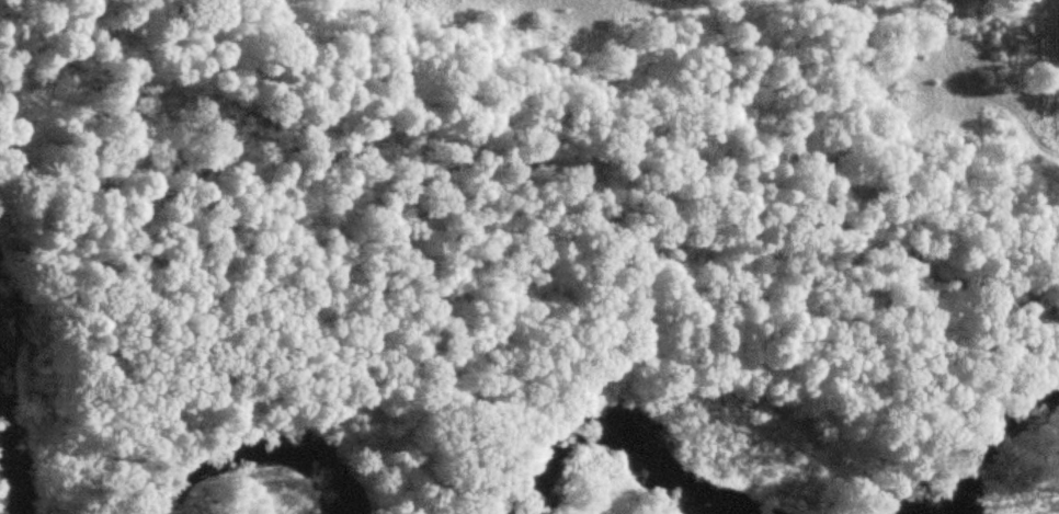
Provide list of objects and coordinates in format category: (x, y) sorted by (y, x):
river: (1, 421)
river: (613, 427)
river: (261, 454)
river: (1004, 460)

